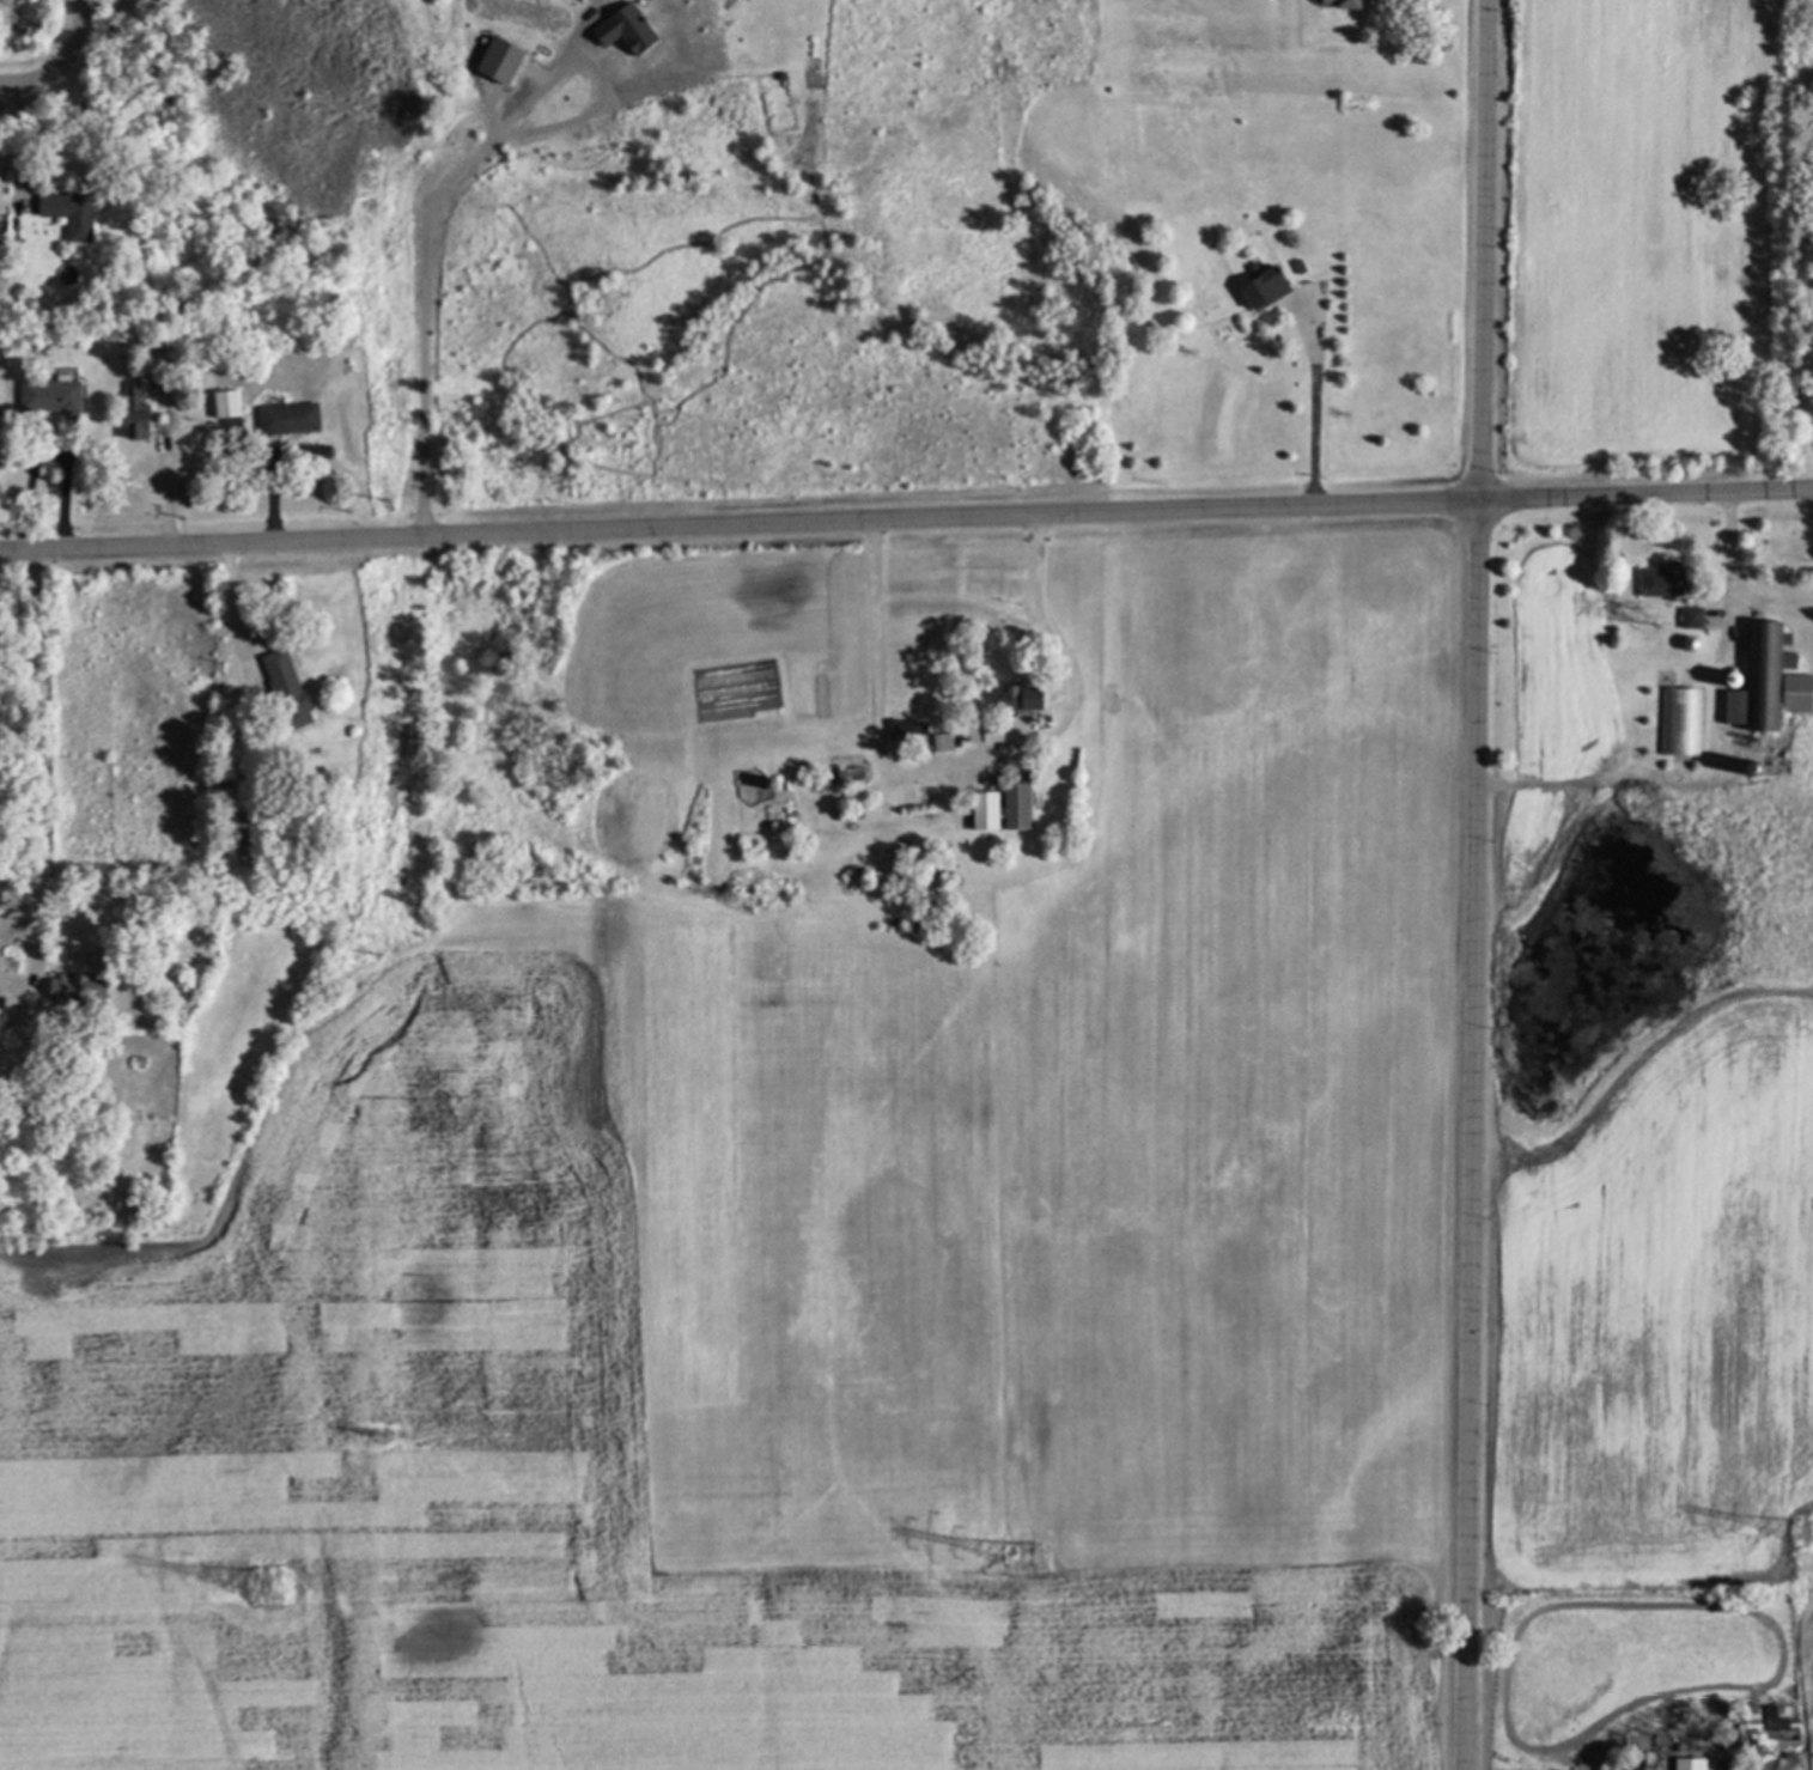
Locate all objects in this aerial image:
building: (1331, 2)
building: (625, 24)
road: (74, 35)
road: (30, 79)
road: (19, 145)
road: (446, 183)
building: (73, 215)
building: (1254, 288)
building: (54, 399)
road: (1312, 402)
building: (230, 406)
building: (140, 415)
building: (292, 420)
road: (906, 521)
road: (1728, 565)
building: (1650, 582)
road: (232, 613)
building: (1686, 616)
building: (1763, 681)
building: (290, 691)
building: (1005, 700)
building: (1680, 720)
road: (963, 765)
road: (39, 786)
building: (1010, 807)
building: (978, 809)
building: (245, 847)
road: (1473, 884)
building: (73, 989)
crop: (971, 1289)
power tower: (1803, 1528)
power tower: (1036, 1556)
power tower: (267, 1585)
building: (1746, 1719)
building: (1684, 1763)
building: (1636, 1766)

